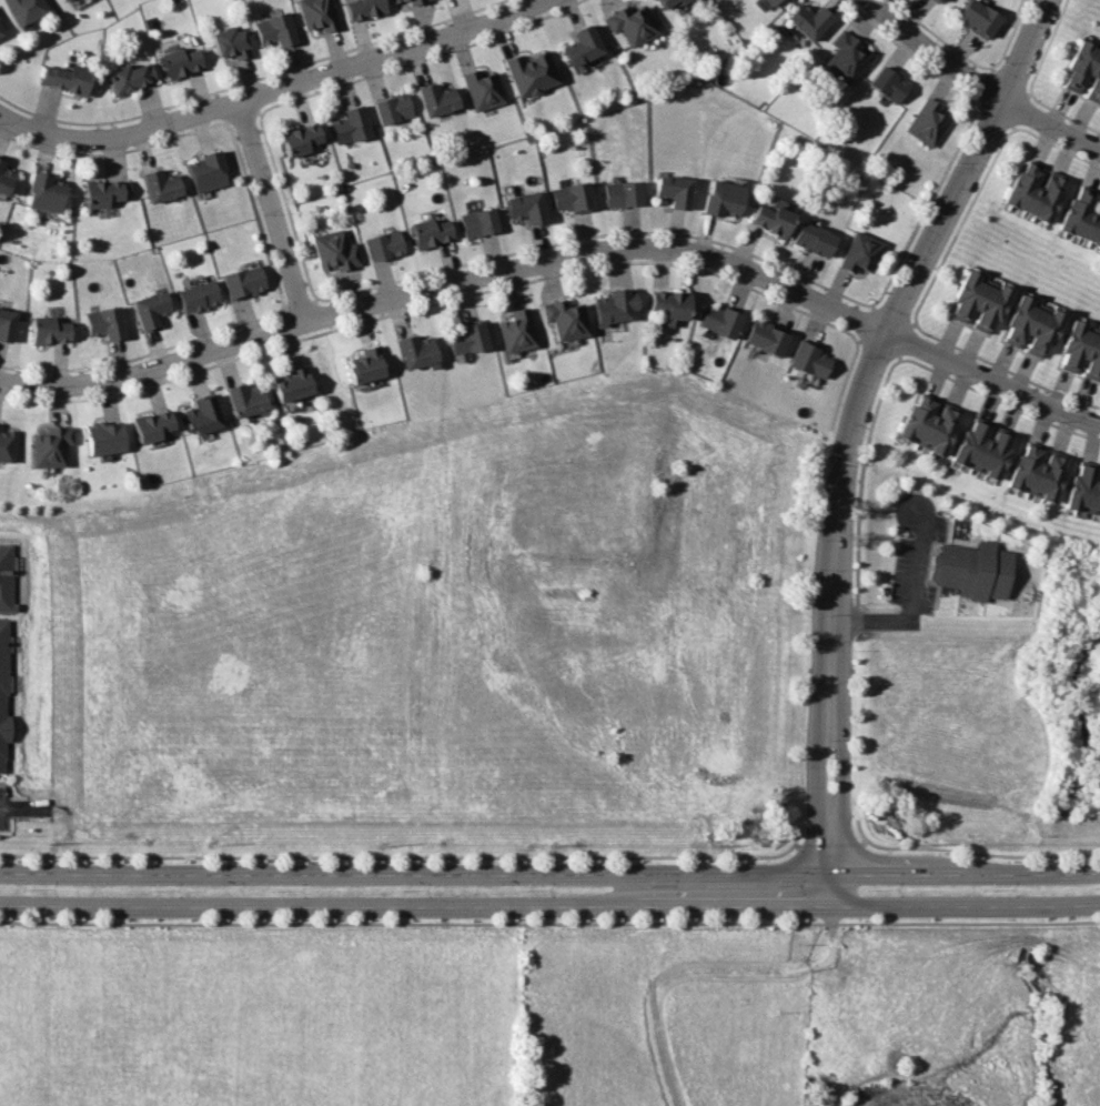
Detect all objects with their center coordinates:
building: (63, 0)
building: (67, 0)
building: (395, 1)
building: (415, 1)
building: (936, 1)
building: (666, 2)
building: (768, 2)
building: (364, 8)
building: (22, 9)
building: (319, 14)
building: (978, 18)
building: (806, 20)
building: (628, 23)
building: (275, 30)
building: (0, 32)
road: (1010, 36)
road: (940, 37)
building: (232, 43)
building: (581, 46)
road: (1048, 47)
road: (910, 53)
building: (844, 57)
road: (421, 59)
building: (181, 62)
building: (1076, 62)
building: (1086, 68)
building: (531, 72)
building: (131, 78)
building: (64, 79)
building: (1092, 79)
road: (249, 80)
road: (980, 81)
road: (1011, 83)
building: (887, 84)
road: (987, 87)
building: (483, 89)
road: (273, 90)
building: (1096, 93)
building: (436, 99)
building: (394, 108)
road: (1017, 112)
road: (992, 113)
road: (1063, 113)
road: (242, 114)
building: (926, 123)
building: (352, 125)
building: (301, 138)
road: (1057, 145)
road: (113, 151)
building: (208, 172)
building: (4, 180)
building: (1016, 184)
building: (161, 185)
building: (1027, 188)
building: (672, 191)
building: (107, 192)
building: (44, 193)
building: (1037, 193)
building: (620, 194)
building: (569, 198)
building: (720, 199)
building: (1047, 199)
road: (285, 204)
road: (925, 205)
building: (524, 207)
building: (1069, 211)
road: (272, 212)
road: (255, 214)
building: (1080, 217)
building: (769, 219)
building: (1090, 221)
building: (477, 222)
road: (959, 225)
building: (428, 232)
road: (595, 233)
building: (1096, 233)
building: (811, 240)
building: (384, 245)
building: (335, 251)
building: (858, 252)
road: (559, 259)
building: (244, 282)
building: (958, 290)
building: (199, 296)
building: (969, 296)
road: (432, 302)
building: (981, 303)
building: (667, 304)
road: (299, 306)
building: (610, 306)
building: (992, 308)
building: (151, 309)
building: (1013, 314)
building: (564, 319)
building: (717, 320)
road: (867, 320)
building: (1025, 321)
building: (105, 322)
road: (894, 322)
building: (7, 325)
building: (1037, 328)
building: (48, 331)
building: (516, 332)
building: (1048, 332)
building: (764, 339)
building: (464, 340)
building: (1067, 340)
road: (878, 341)
road: (897, 344)
road: (874, 345)
building: (1078, 345)
building: (415, 352)
building: (1091, 352)
road: (143, 353)
building: (807, 360)
building: (365, 365)
building: (1096, 368)
road: (1005, 371)
building: (291, 384)
road: (842, 385)
building: (245, 399)
road: (997, 400)
building: (203, 414)
building: (906, 419)
building: (917, 422)
building: (153, 425)
building: (930, 428)
building: (941, 432)
building: (105, 438)
building: (960, 443)
building: (7, 444)
building: (972, 445)
building: (52, 448)
building: (985, 451)
building: (996, 455)
building: (1015, 466)
building: (1027, 470)
building: (1039, 475)
building: (1050, 479)
road: (859, 480)
building: (1071, 489)
building: (1084, 490)
building: (1094, 500)
building: (1099, 515)
building: (968, 569)
building: (4, 577)
road: (908, 595)
road: (855, 614)
building: (2, 696)
road: (23, 807)
road: (818, 807)
road: (846, 807)
road: (859, 829)
road: (829, 846)
road: (408, 854)
road: (549, 871)
road: (549, 899)
road: (549, 923)

